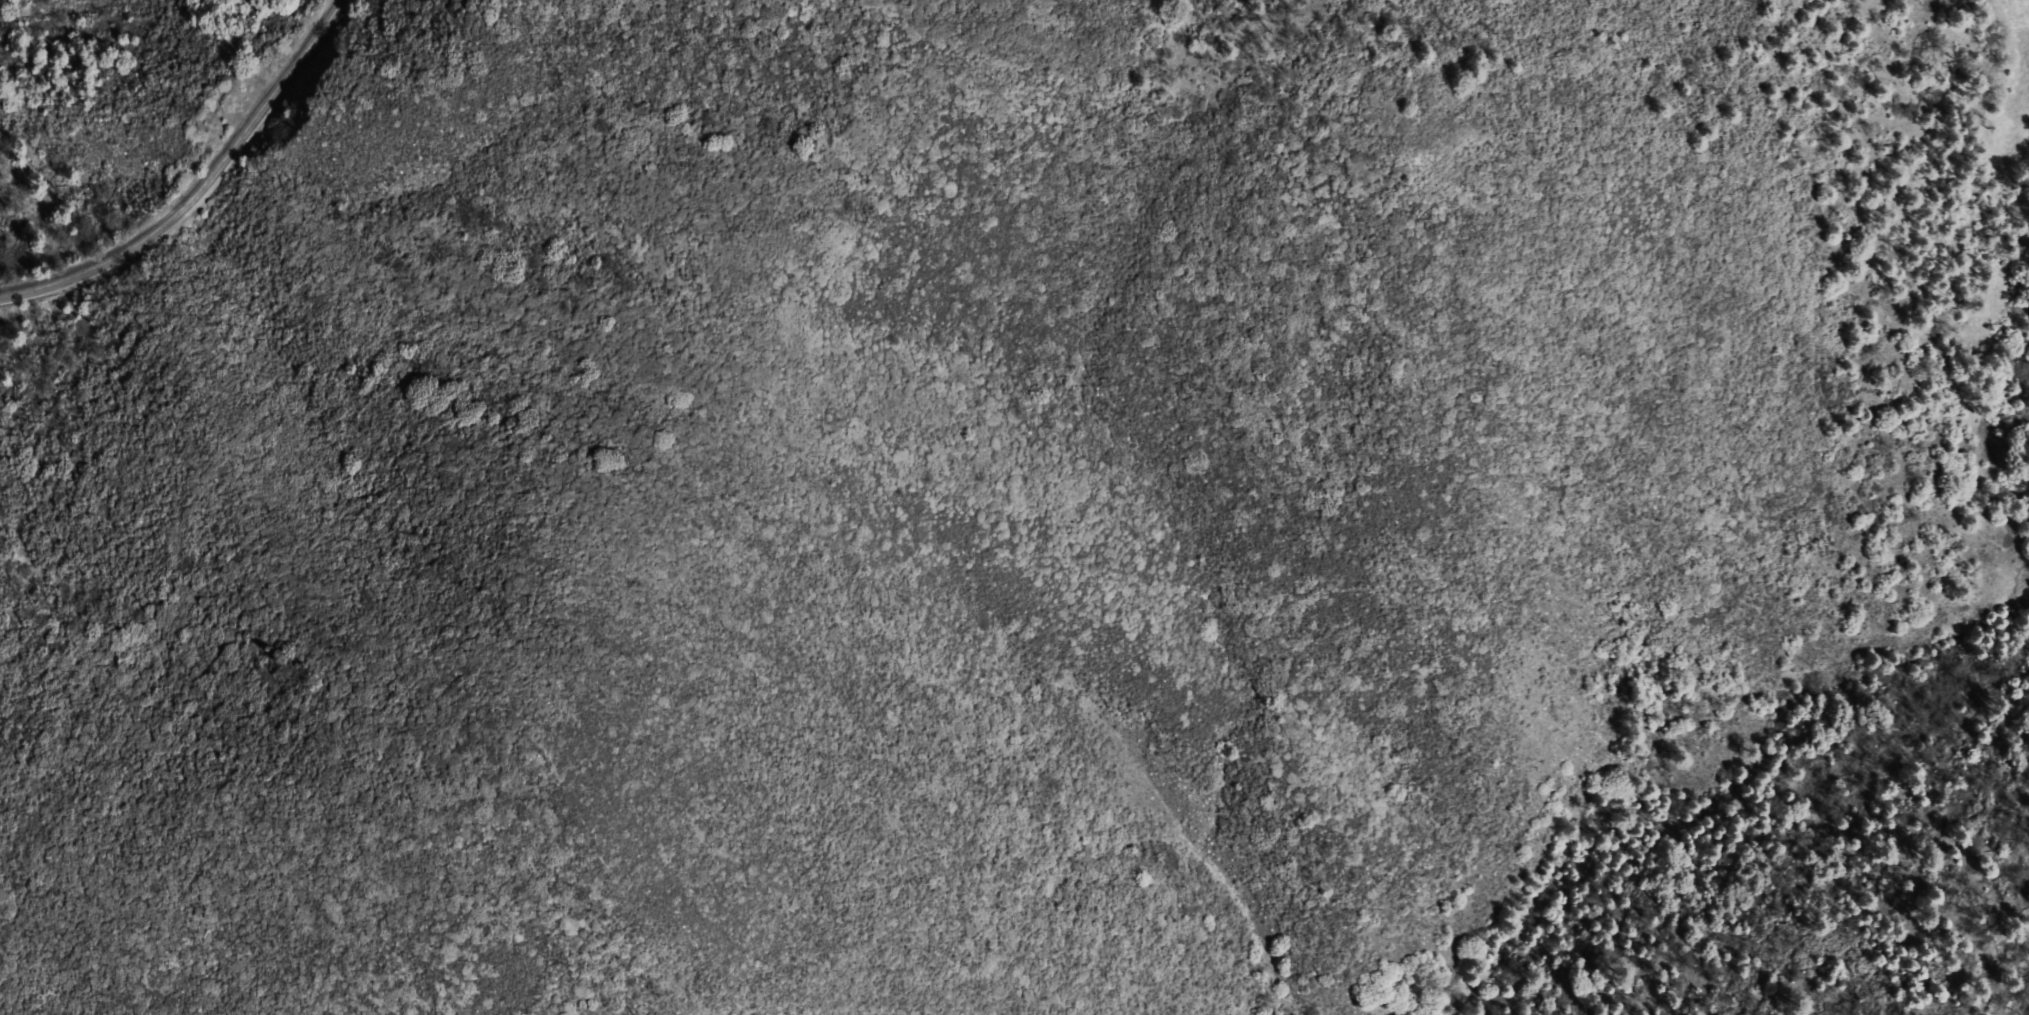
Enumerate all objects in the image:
road: (203, 187)

